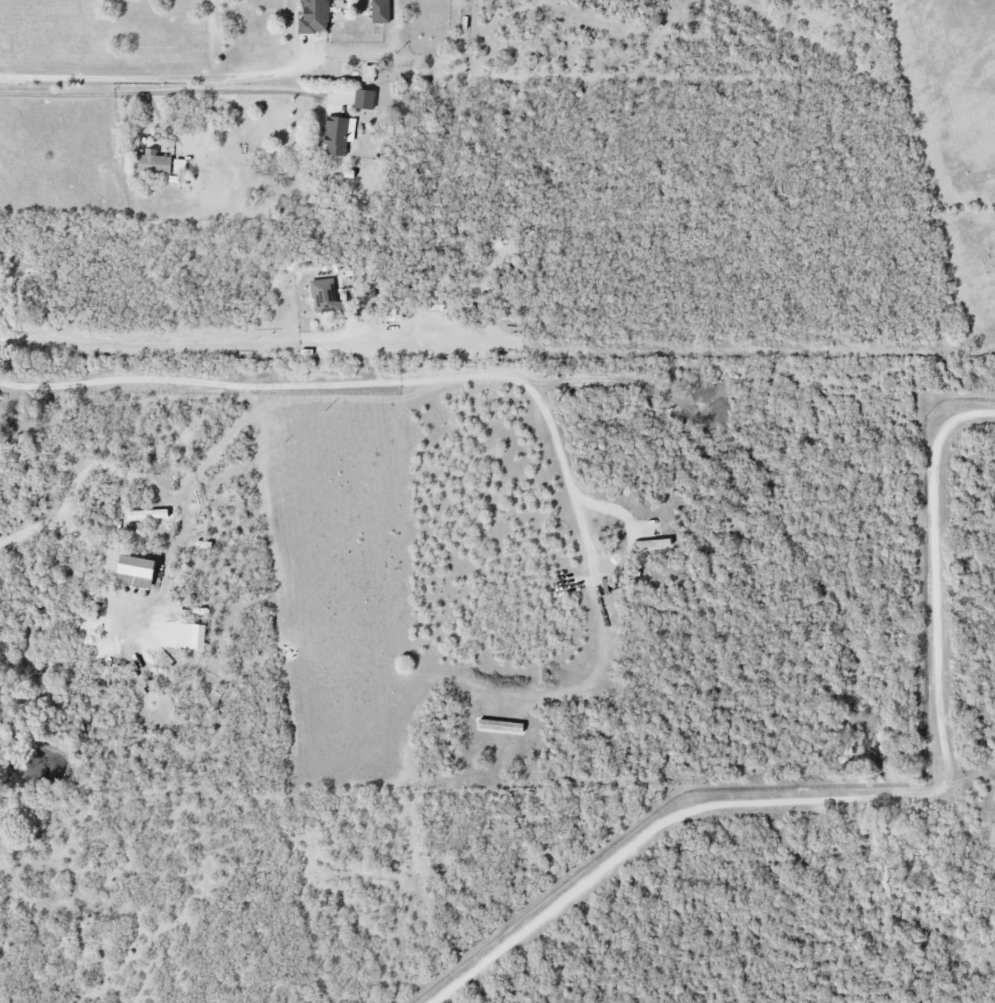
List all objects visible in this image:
building: (381, 12)
building: (315, 17)
building: (369, 74)
road: (154, 78)
road: (150, 93)
building: (365, 100)
building: (339, 135)
building: (155, 163)
building: (180, 166)
building: (329, 299)
road: (177, 341)
road: (354, 381)
road: (86, 537)
building: (139, 573)
road: (936, 582)
road: (966, 778)
road: (658, 826)

